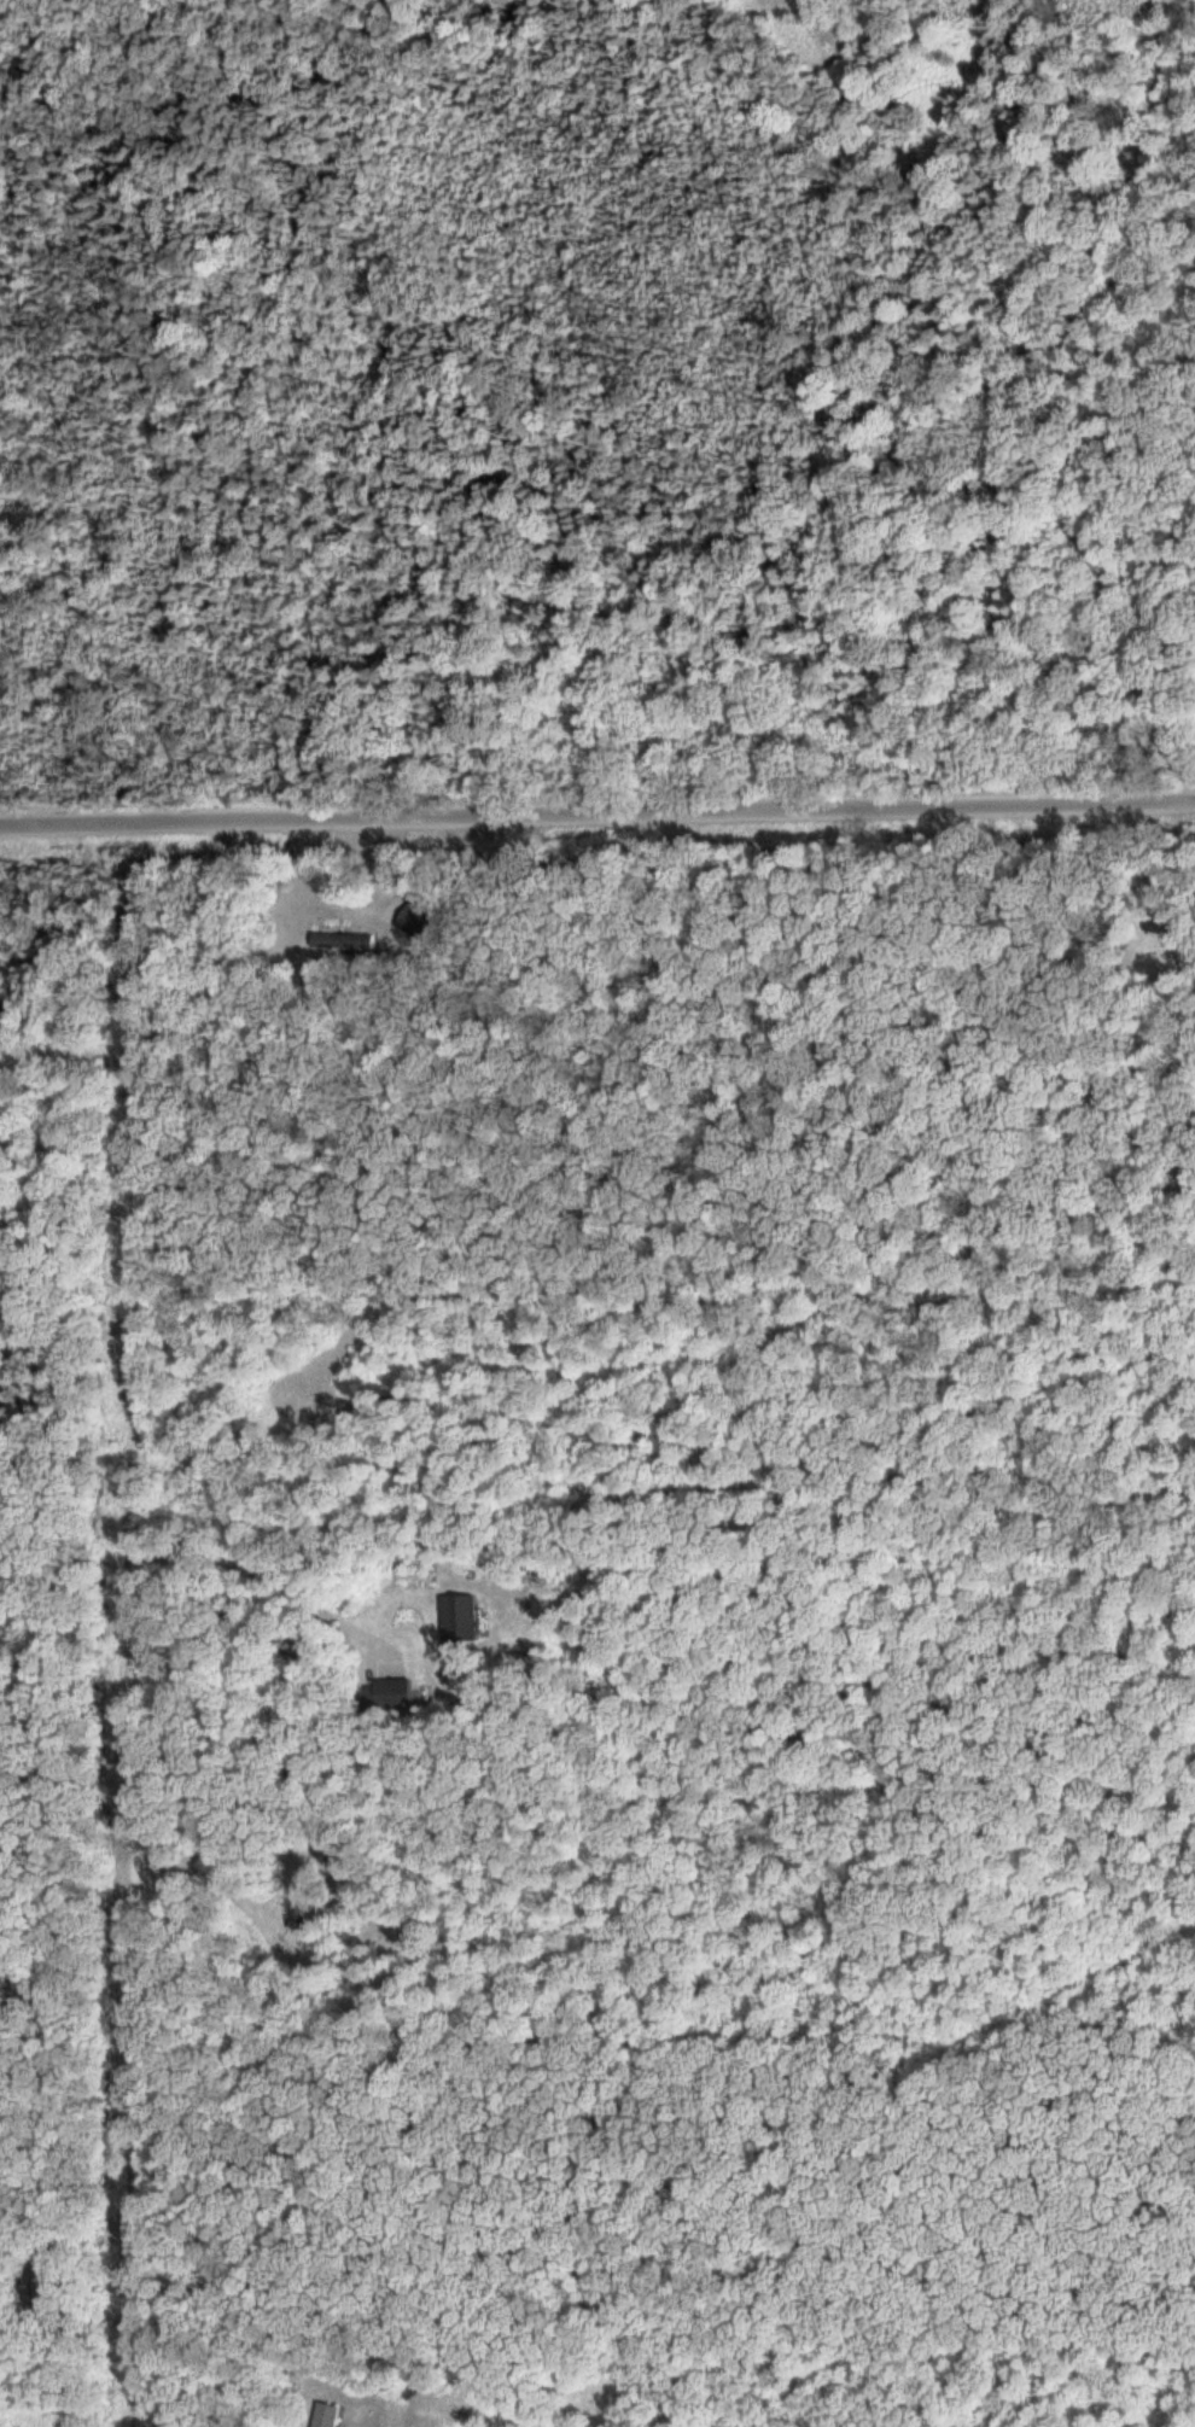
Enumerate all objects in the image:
road: (597, 811)
road: (142, 1598)
building: (470, 1616)
building: (368, 1697)
road: (696, 2190)
building: (328, 2415)

